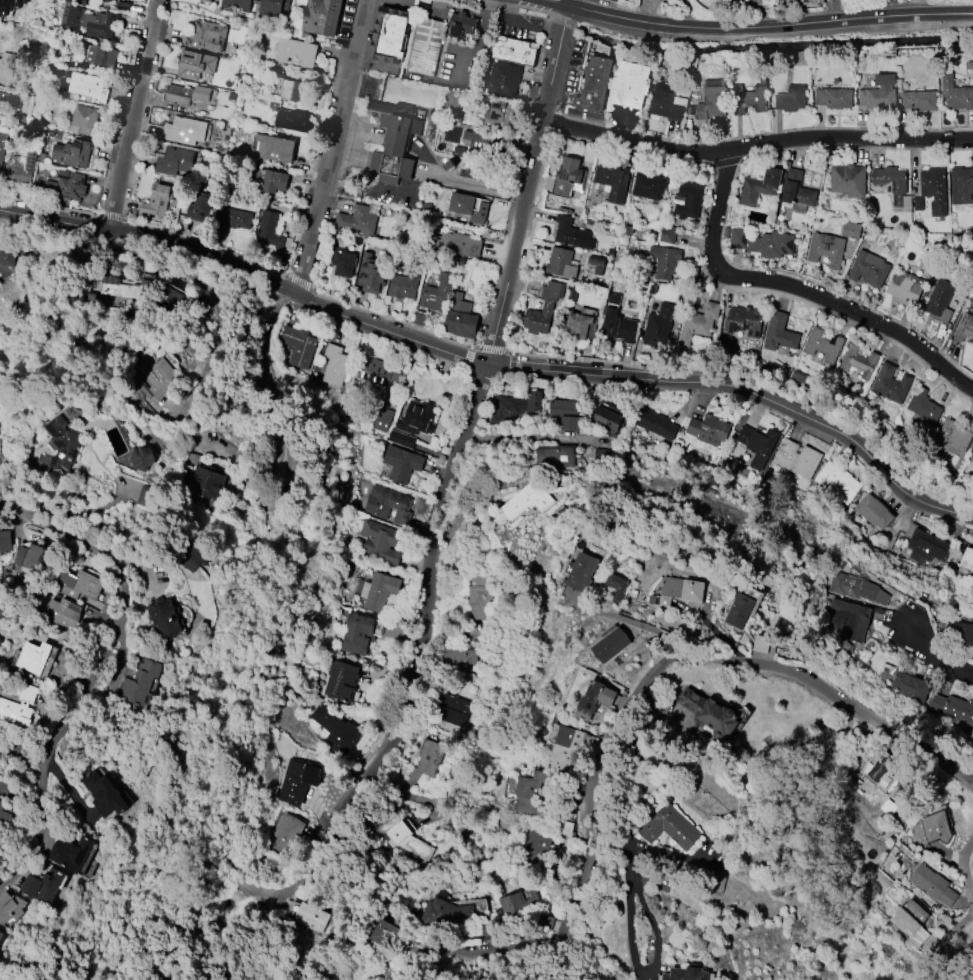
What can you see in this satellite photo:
building: (124, 0)
building: (211, 0)
building: (815, 1)
building: (5, 2)
building: (28, 3)
building: (239, 3)
building: (274, 8)
road: (461, 9)
building: (322, 17)
building: (86, 20)
building: (461, 25)
road: (755, 25)
parking lot: (523, 26)
building: (389, 34)
building: (207, 36)
road: (475, 44)
building: (423, 45)
building: (513, 50)
building: (295, 51)
building: (102, 56)
building: (198, 65)
building: (6, 67)
building: (505, 79)
building: (631, 84)
building: (594, 85)
building: (89, 87)
building: (294, 90)
building: (186, 94)
building: (956, 94)
building: (750, 97)
building: (833, 98)
building: (5, 99)
building: (791, 99)
building: (878, 99)
building: (712, 100)
building: (919, 101)
building: (668, 102)
road: (131, 113)
building: (498, 113)
building: (84, 120)
building: (295, 121)
building: (186, 132)
building: (394, 140)
building: (486, 142)
building: (3, 145)
road: (329, 147)
building: (276, 148)
road: (757, 148)
building: (73, 153)
building: (175, 162)
building: (22, 168)
building: (569, 178)
building: (849, 180)
building: (274, 181)
building: (612, 182)
building: (962, 185)
road: (476, 186)
building: (649, 186)
building: (65, 187)
building: (760, 187)
building: (894, 187)
building: (935, 190)
building: (797, 193)
building: (158, 199)
building: (687, 200)
building: (467, 202)
building: (200, 207)
building: (234, 218)
building: (358, 219)
building: (850, 230)
building: (272, 232)
building: (568, 232)
building: (667, 234)
building: (455, 243)
building: (763, 243)
park: (959, 247)
building: (827, 252)
building: (7, 256)
building: (665, 262)
building: (562, 263)
building: (342, 264)
building: (869, 269)
building: (369, 275)
building: (403, 286)
building: (125, 288)
building: (905, 289)
road: (800, 291)
building: (437, 293)
building: (172, 296)
building: (940, 301)
building: (544, 308)
road: (958, 314)
building: (744, 321)
building: (699, 323)
building: (461, 324)
building: (579, 325)
building: (659, 325)
building: (619, 328)
building: (964, 328)
building: (780, 334)
building: (824, 345)
building: (972, 346)
building: (301, 349)
road: (941, 357)
building: (858, 361)
building: (335, 365)
road: (492, 367)
building: (376, 374)
building: (160, 376)
building: (891, 384)
road: (481, 400)
building: (923, 406)
building: (514, 407)
building: (566, 414)
building: (417, 418)
building: (608, 418)
building: (656, 424)
road: (287, 430)
building: (709, 430)
building: (955, 435)
road: (537, 437)
building: (756, 439)
building: (64, 446)
building: (0, 452)
building: (140, 458)
building: (556, 458)
building: (796, 459)
building: (971, 460)
building: (402, 463)
building: (837, 482)
building: (208, 483)
building: (528, 500)
building: (388, 506)
building: (874, 512)
building: (5, 540)
building: (380, 542)
building: (926, 547)
building: (33, 557)
building: (967, 559)
building: (582, 572)
building: (80, 585)
building: (856, 587)
building: (614, 588)
building: (379, 591)
building: (681, 591)
building: (481, 597)
building: (740, 611)
building: (63, 613)
building: (165, 616)
building: (847, 620)
road: (632, 623)
building: (358, 627)
building: (959, 634)
building: (611, 645)
road: (685, 656)
building: (35, 657)
road: (933, 658)
building: (462, 659)
road: (113, 671)
building: (341, 680)
building: (141, 683)
building: (910, 687)
building: (592, 702)
building: (19, 707)
building: (953, 708)
building: (456, 711)
building: (709, 714)
building: (337, 731)
building: (570, 746)
building: (430, 757)
building: (880, 768)
building: (297, 778)
building: (106, 794)
building: (528, 794)
building: (4, 812)
building: (671, 827)
building: (933, 828)
building: (286, 834)
building: (410, 841)
building: (536, 846)
building: (72, 852)
road: (962, 871)
road: (260, 883)
building: (43, 884)
building: (933, 885)
building: (518, 901)
building: (10, 907)
building: (447, 913)
building: (310, 918)
building: (919, 922)
building: (0, 934)
building: (388, 936)
road: (496, 949)
building: (686, 973)

